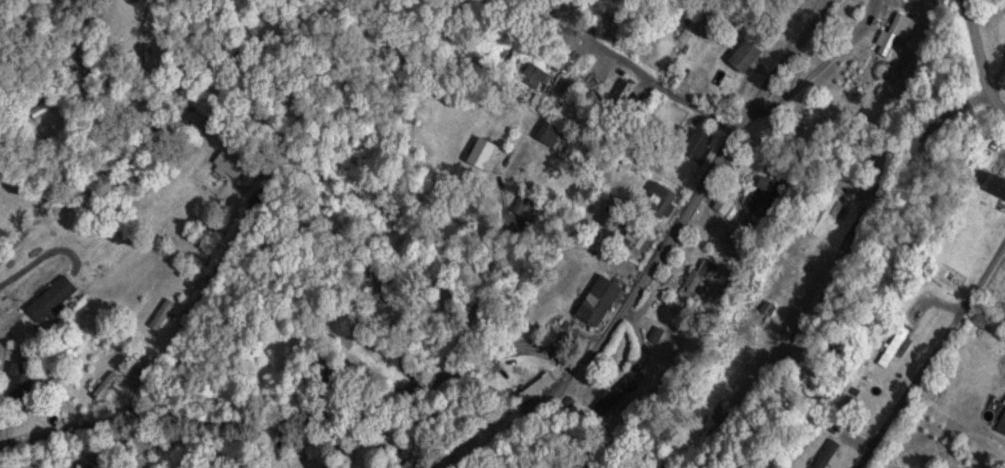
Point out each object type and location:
road: (1002, 5)
building: (690, 23)
building: (897, 31)
building: (746, 56)
road: (642, 74)
building: (533, 76)
building: (549, 133)
building: (698, 145)
building: (483, 154)
building: (231, 162)
building: (998, 185)
building: (766, 196)
building: (663, 200)
building: (724, 204)
building: (825, 212)
building: (640, 239)
road: (39, 258)
building: (699, 281)
building: (53, 299)
building: (598, 301)
building: (163, 313)
road: (186, 318)
road: (503, 344)
road: (932, 355)
building: (20, 386)
building: (106, 386)
building: (619, 390)
building: (851, 403)
building: (1002, 425)
building: (827, 455)
building: (420, 462)
building: (91, 466)

